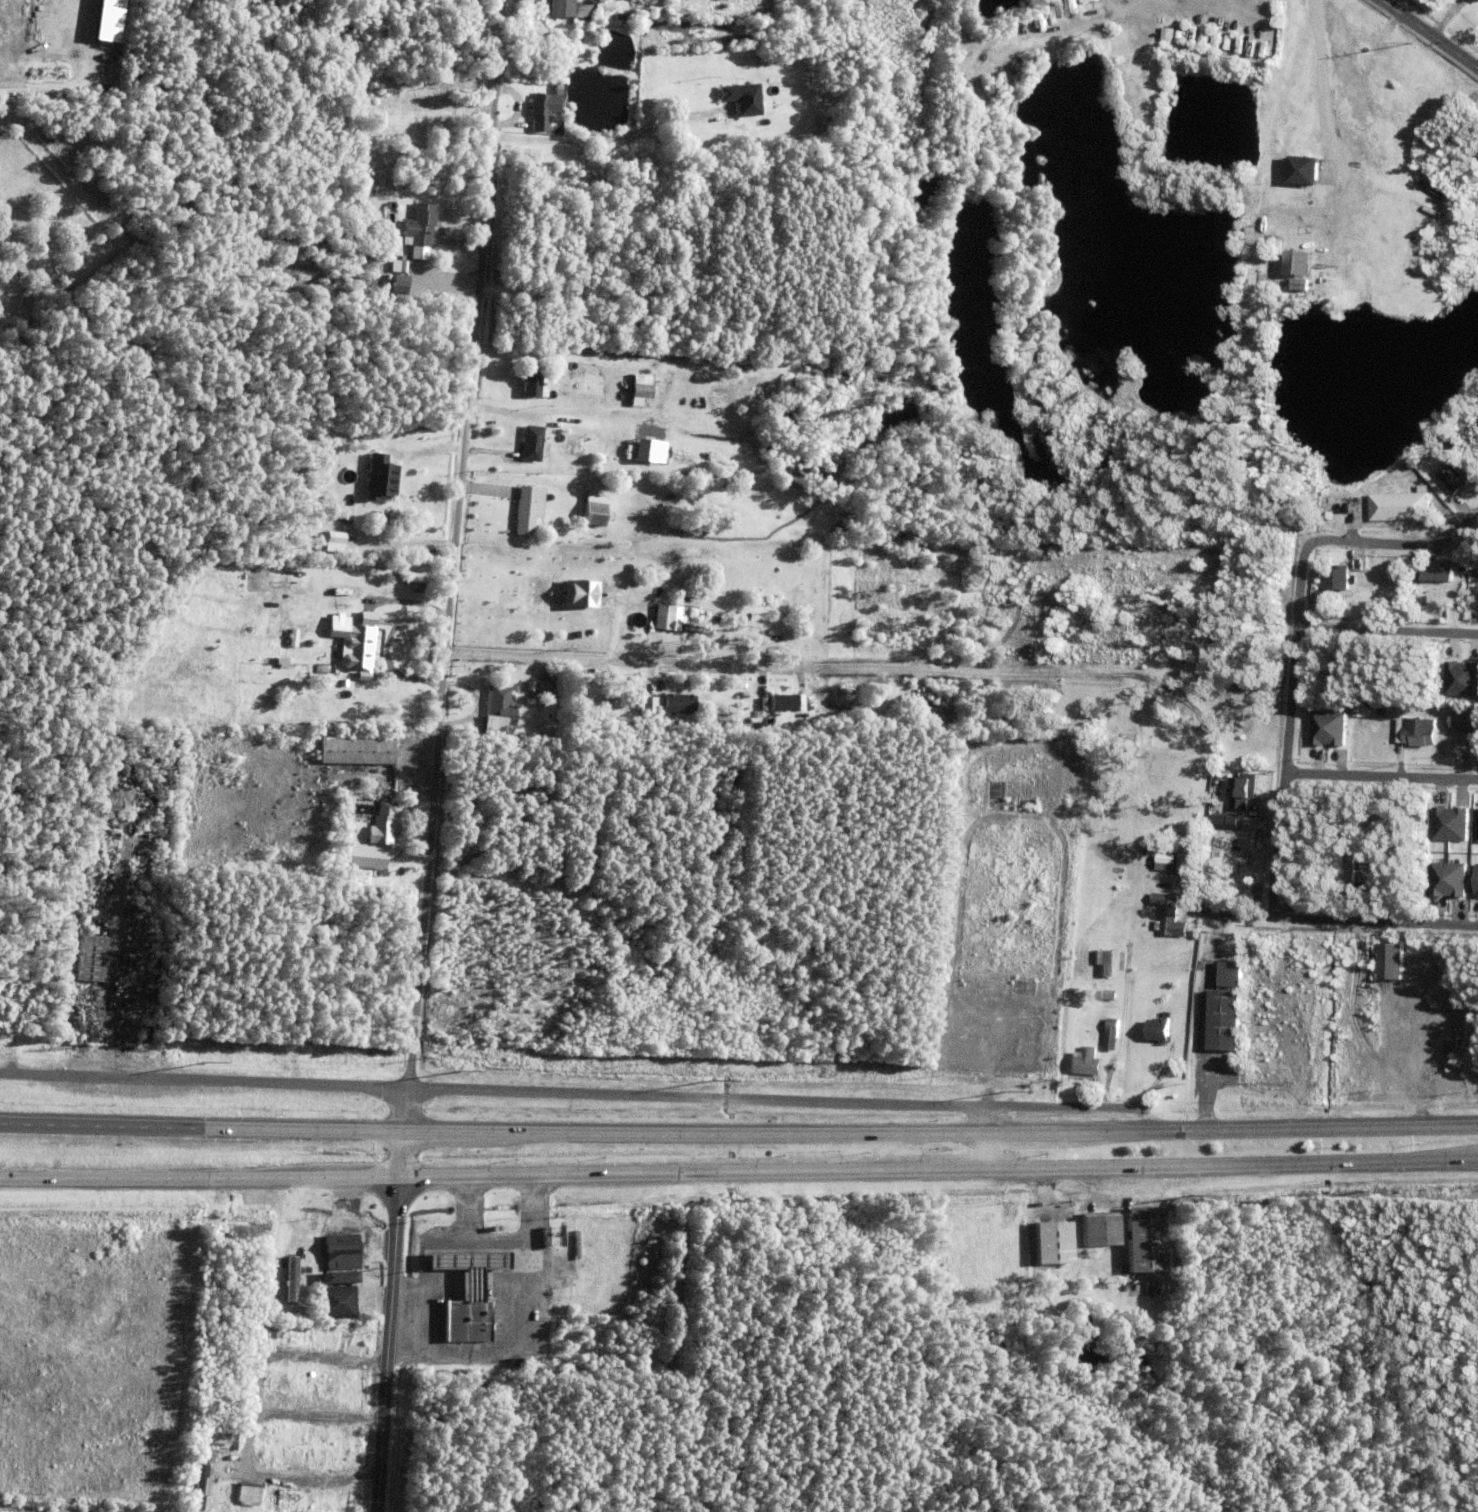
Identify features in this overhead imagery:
building: (586, 1)
building: (1072, 2)
building: (576, 7)
building: (559, 9)
building: (627, 24)
building: (913, 24)
building: (1169, 34)
road: (1428, 35)
building: (591, 56)
building: (1285, 72)
building: (744, 74)
building: (728, 81)
building: (339, 83)
building: (1284, 88)
building: (556, 89)
building: (975, 94)
building: (742, 100)
building: (1329, 104)
building: (1335, 106)
building: (541, 112)
building: (1277, 136)
building: (1317, 137)
building: (1299, 171)
building: (419, 226)
building: (403, 268)
building: (703, 332)
building: (814, 367)
building: (532, 380)
building: (641, 388)
building: (531, 444)
building: (646, 450)
building: (374, 451)
building: (1450, 477)
building: (379, 480)
building: (1257, 493)
building: (1398, 505)
building: (525, 512)
building: (594, 512)
building: (1270, 528)
building: (336, 540)
road: (1397, 545)
road: (452, 564)
building: (1474, 569)
building: (1438, 575)
building: (1334, 577)
building: (413, 584)
building: (579, 595)
building: (398, 598)
building: (745, 616)
building: (537, 618)
building: (663, 619)
building: (368, 620)
building: (649, 622)
road: (1388, 632)
building: (578, 636)
building: (353, 647)
building: (1348, 654)
building: (282, 661)
road: (794, 666)
building: (1460, 678)
building: (482, 681)
building: (713, 688)
building: (542, 692)
building: (751, 692)
building: (516, 697)
building: (778, 701)
building: (497, 702)
building: (677, 706)
building: (648, 707)
road: (1293, 707)
building: (919, 708)
building: (741, 715)
building: (1459, 721)
building: (1324, 727)
building: (494, 728)
building: (1416, 731)
building: (352, 752)
road: (1383, 778)
building: (1243, 793)
building: (1026, 803)
building: (105, 804)
building: (1446, 824)
building: (1227, 825)
building: (384, 826)
building: (1476, 826)
building: (376, 850)
building: (398, 850)
building: (360, 863)
building: (1168, 863)
building: (1346, 873)
building: (1352, 878)
building: (1445, 879)
building: (1474, 880)
building: (1249, 895)
building: (1167, 912)
road: (1356, 923)
building: (1417, 948)
building: (1101, 961)
building: (90, 962)
building: (1228, 973)
building: (1387, 988)
building: (1106, 994)
building: (1222, 1020)
building: (1157, 1029)
building: (1110, 1033)
road: (1177, 1041)
building: (1439, 1059)
building: (1083, 1062)
road: (573, 1093)
road: (203, 1124)
road: (942, 1133)
road: (987, 1152)
road: (940, 1171)
road: (200, 1181)
building: (1099, 1235)
building: (274, 1239)
building: (1144, 1244)
building: (1052, 1248)
building: (343, 1255)
building: (314, 1266)
building: (1117, 1273)
building: (331, 1277)
building: (286, 1278)
building: (364, 1280)
building: (335, 1300)
building: (466, 1300)
building: (273, 1302)
building: (297, 1320)
road: (389, 1320)
building: (343, 1343)
building: (515, 1370)
building: (317, 1438)
building: (202, 1455)
building: (281, 1458)
building: (317, 1459)
building: (196, 1487)
building: (249, 1493)
building: (277, 1498)
building: (309, 1500)

